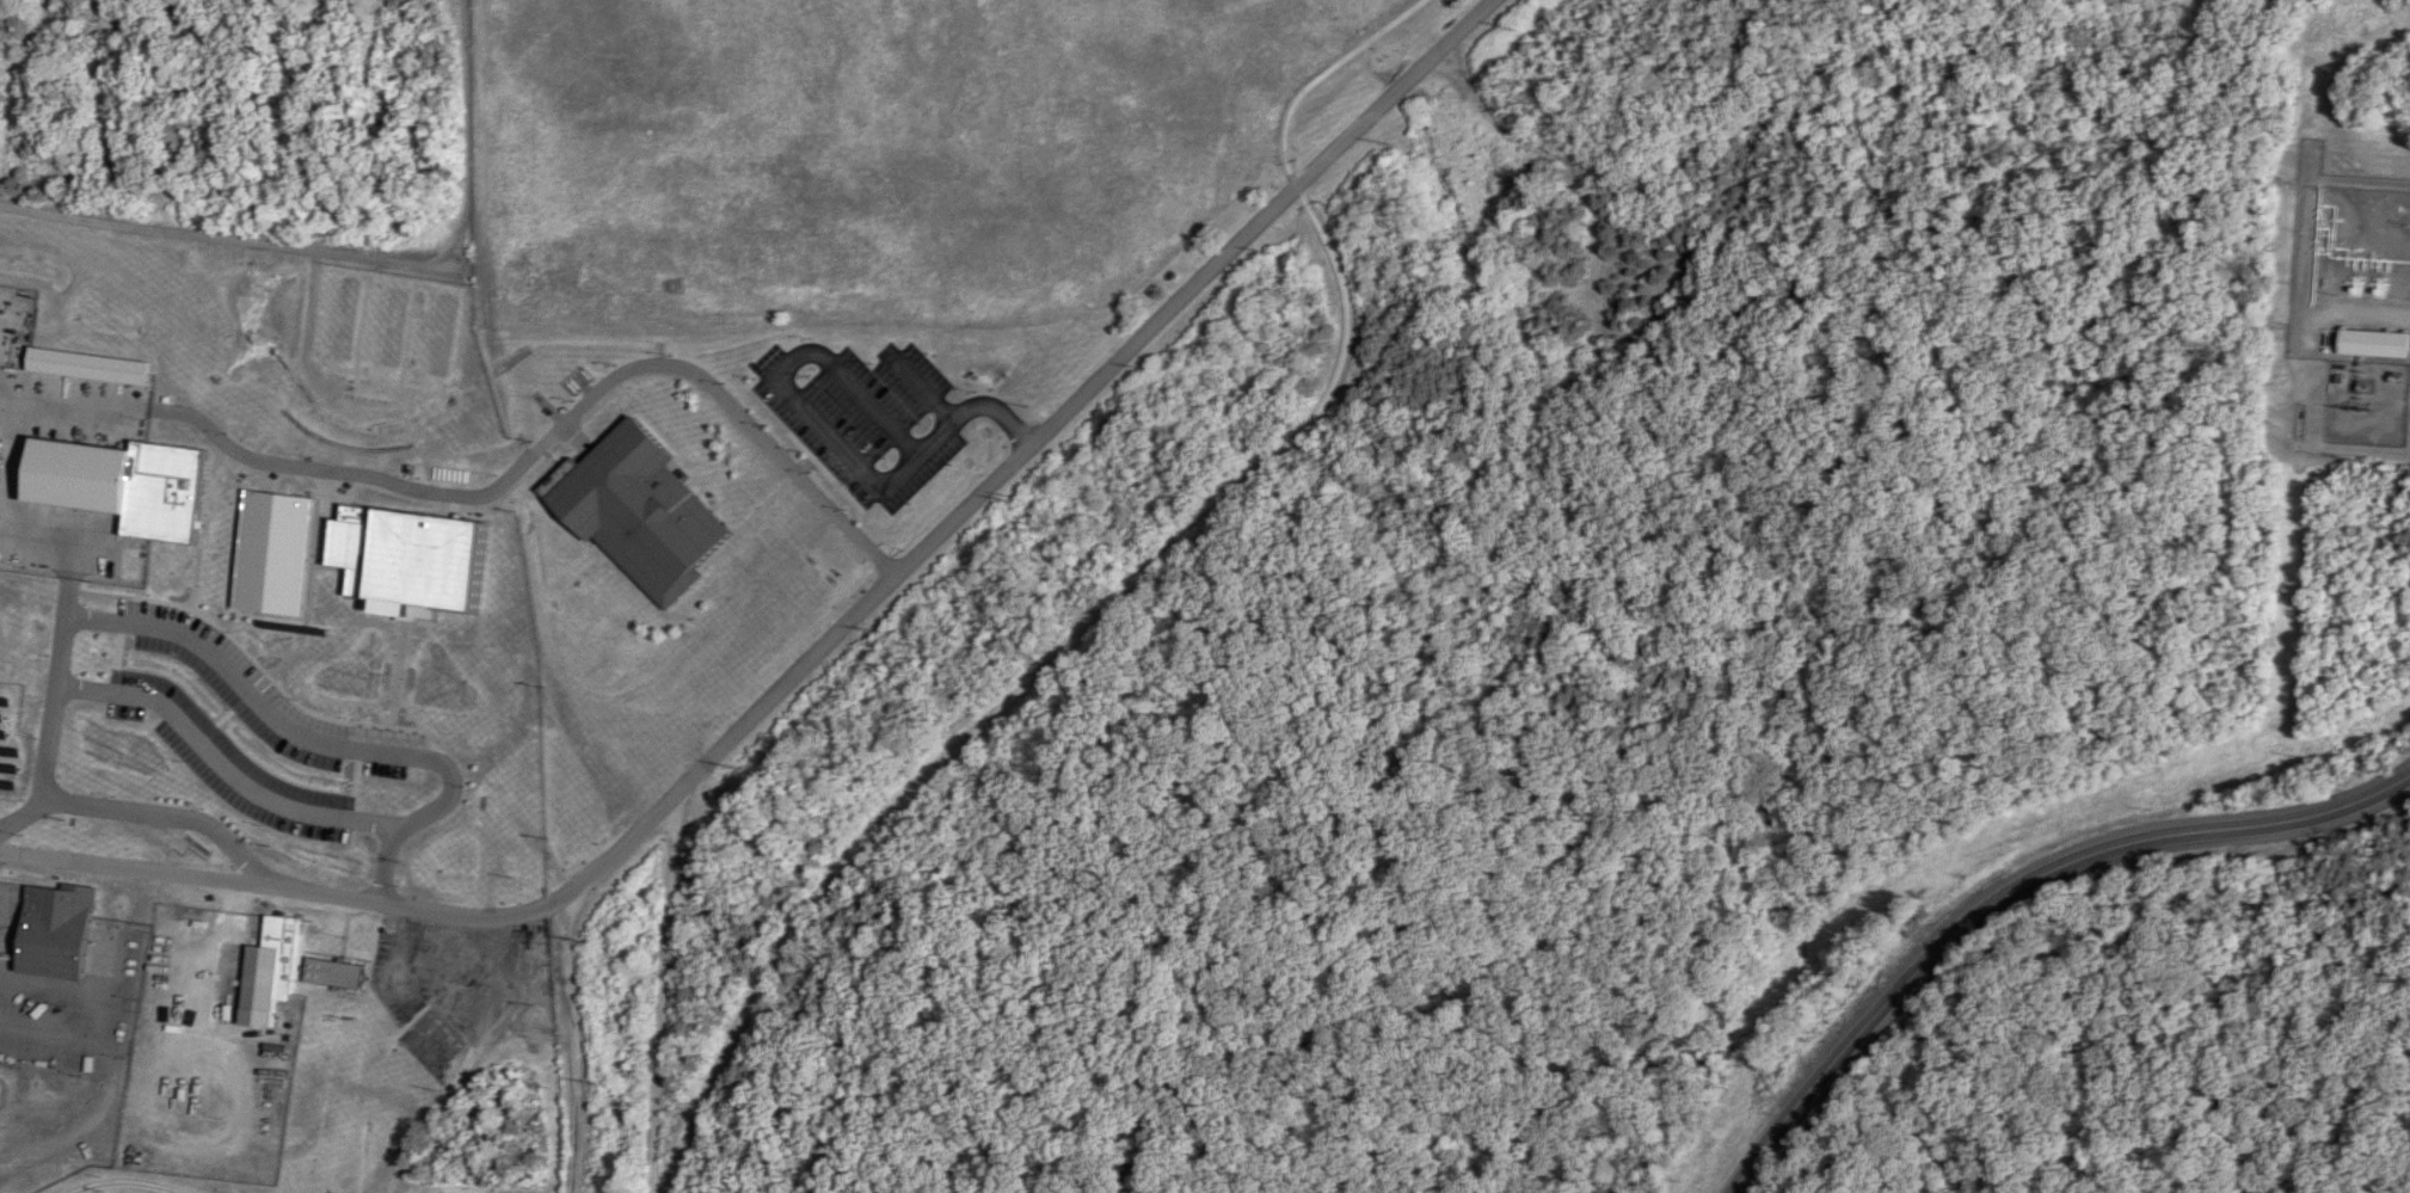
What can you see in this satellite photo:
road: (466, 55)
park: (890, 149)
road: (466, 193)
road: (233, 234)
road: (2372, 314)
building: (2373, 342)
building: (87, 363)
road: (917, 386)
road: (2393, 405)
parking lot: (863, 414)
road: (828, 431)
road: (1016, 454)
building: (123, 482)
road: (502, 484)
building: (635, 509)
road: (7, 533)
building: (272, 551)
building: (408, 559)
road: (64, 588)
road: (1124, 594)
road: (241, 685)
parking lot: (247, 726)
road: (222, 765)
road: (143, 812)
road: (418, 818)
road: (272, 887)
road: (2014, 888)
building: (55, 928)
building: (269, 968)
building: (333, 971)
road: (660, 990)
road: (574, 1044)
road: (468, 1063)
road: (111, 1081)
road: (119, 1183)

